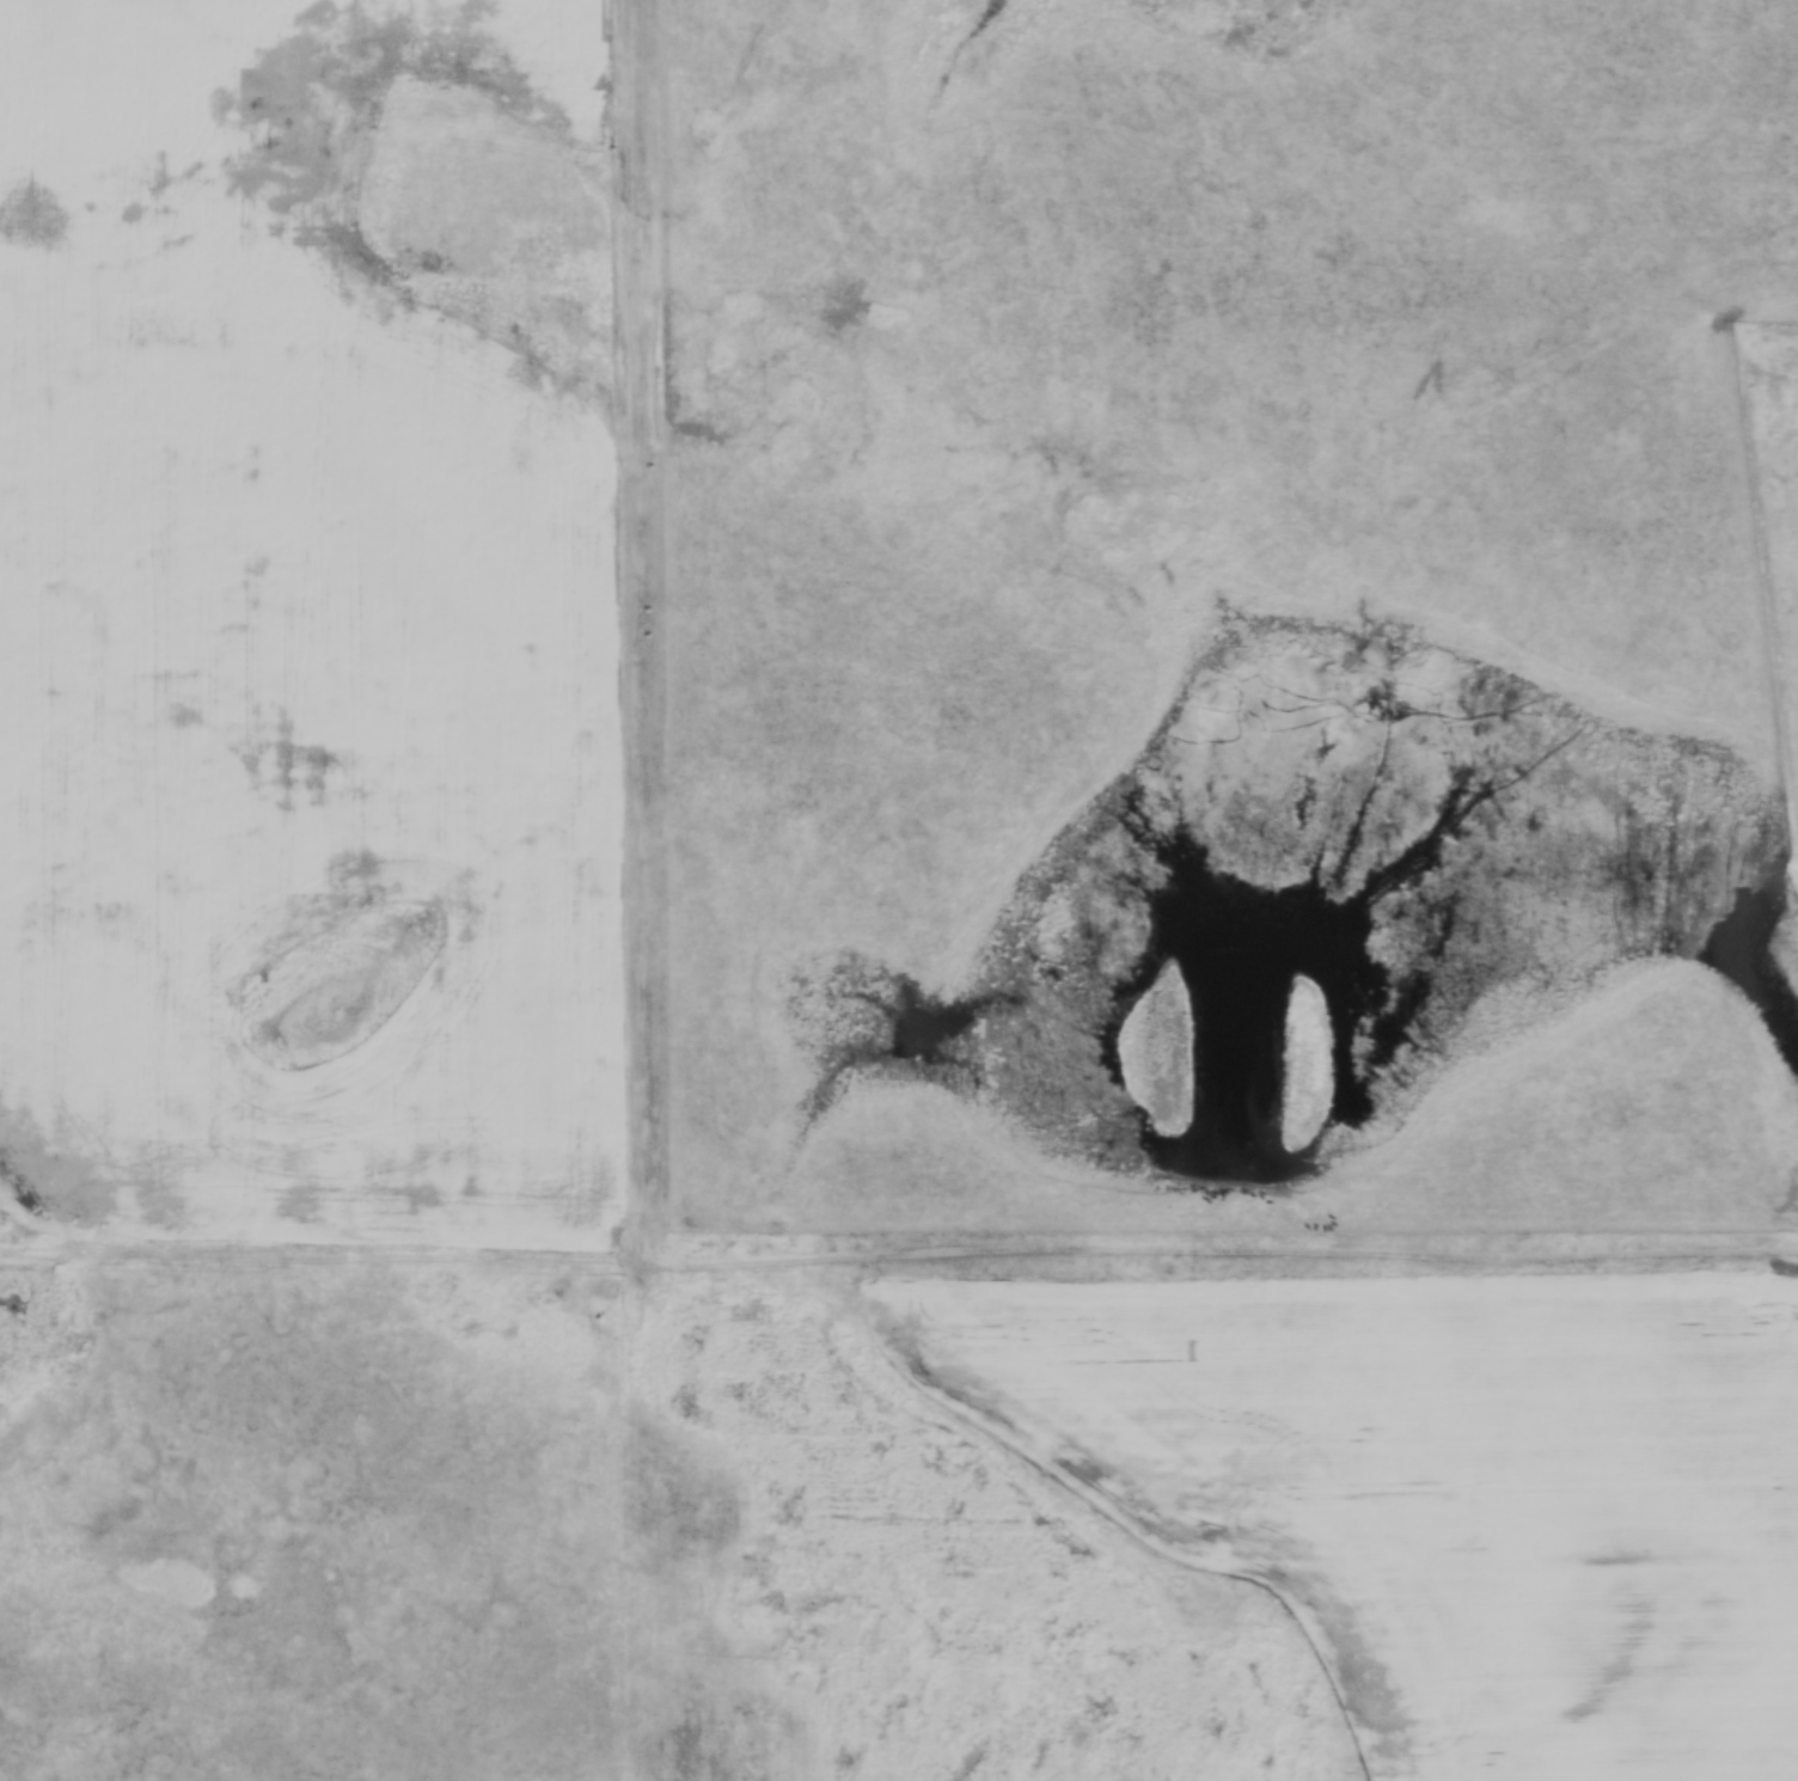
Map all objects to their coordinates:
road: (634, 634)
road: (1218, 1247)
road: (319, 1266)

